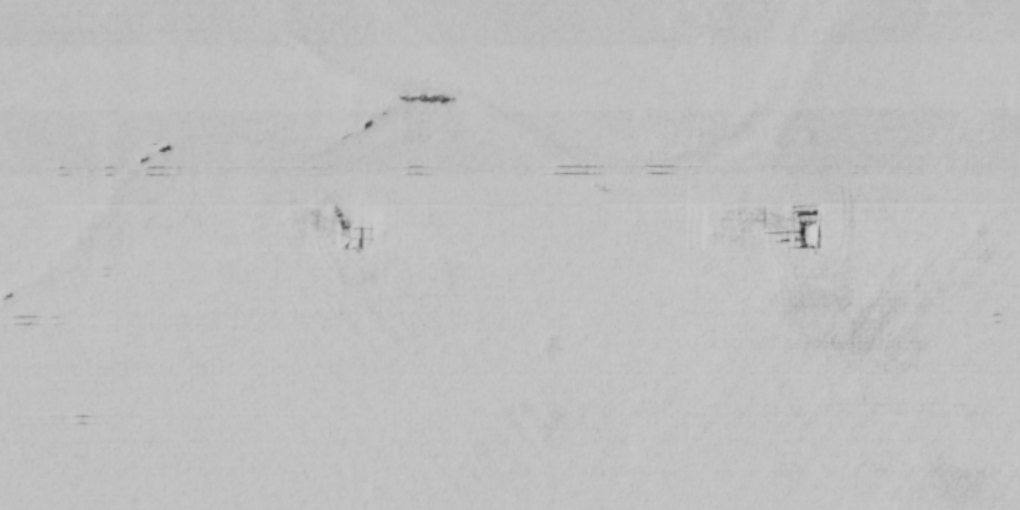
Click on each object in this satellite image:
power tower: (810, 230)
power tower: (353, 232)

